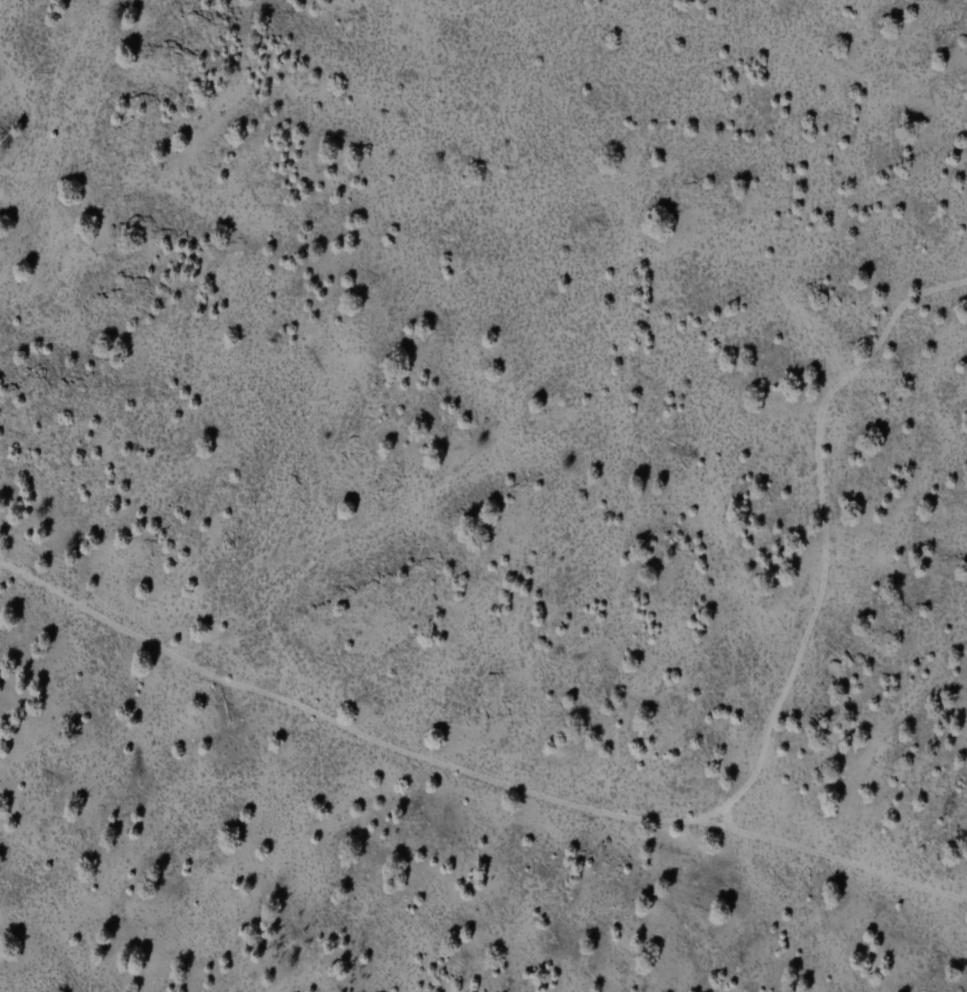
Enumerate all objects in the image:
road: (651, 816)
road: (242, 842)
road: (833, 857)

